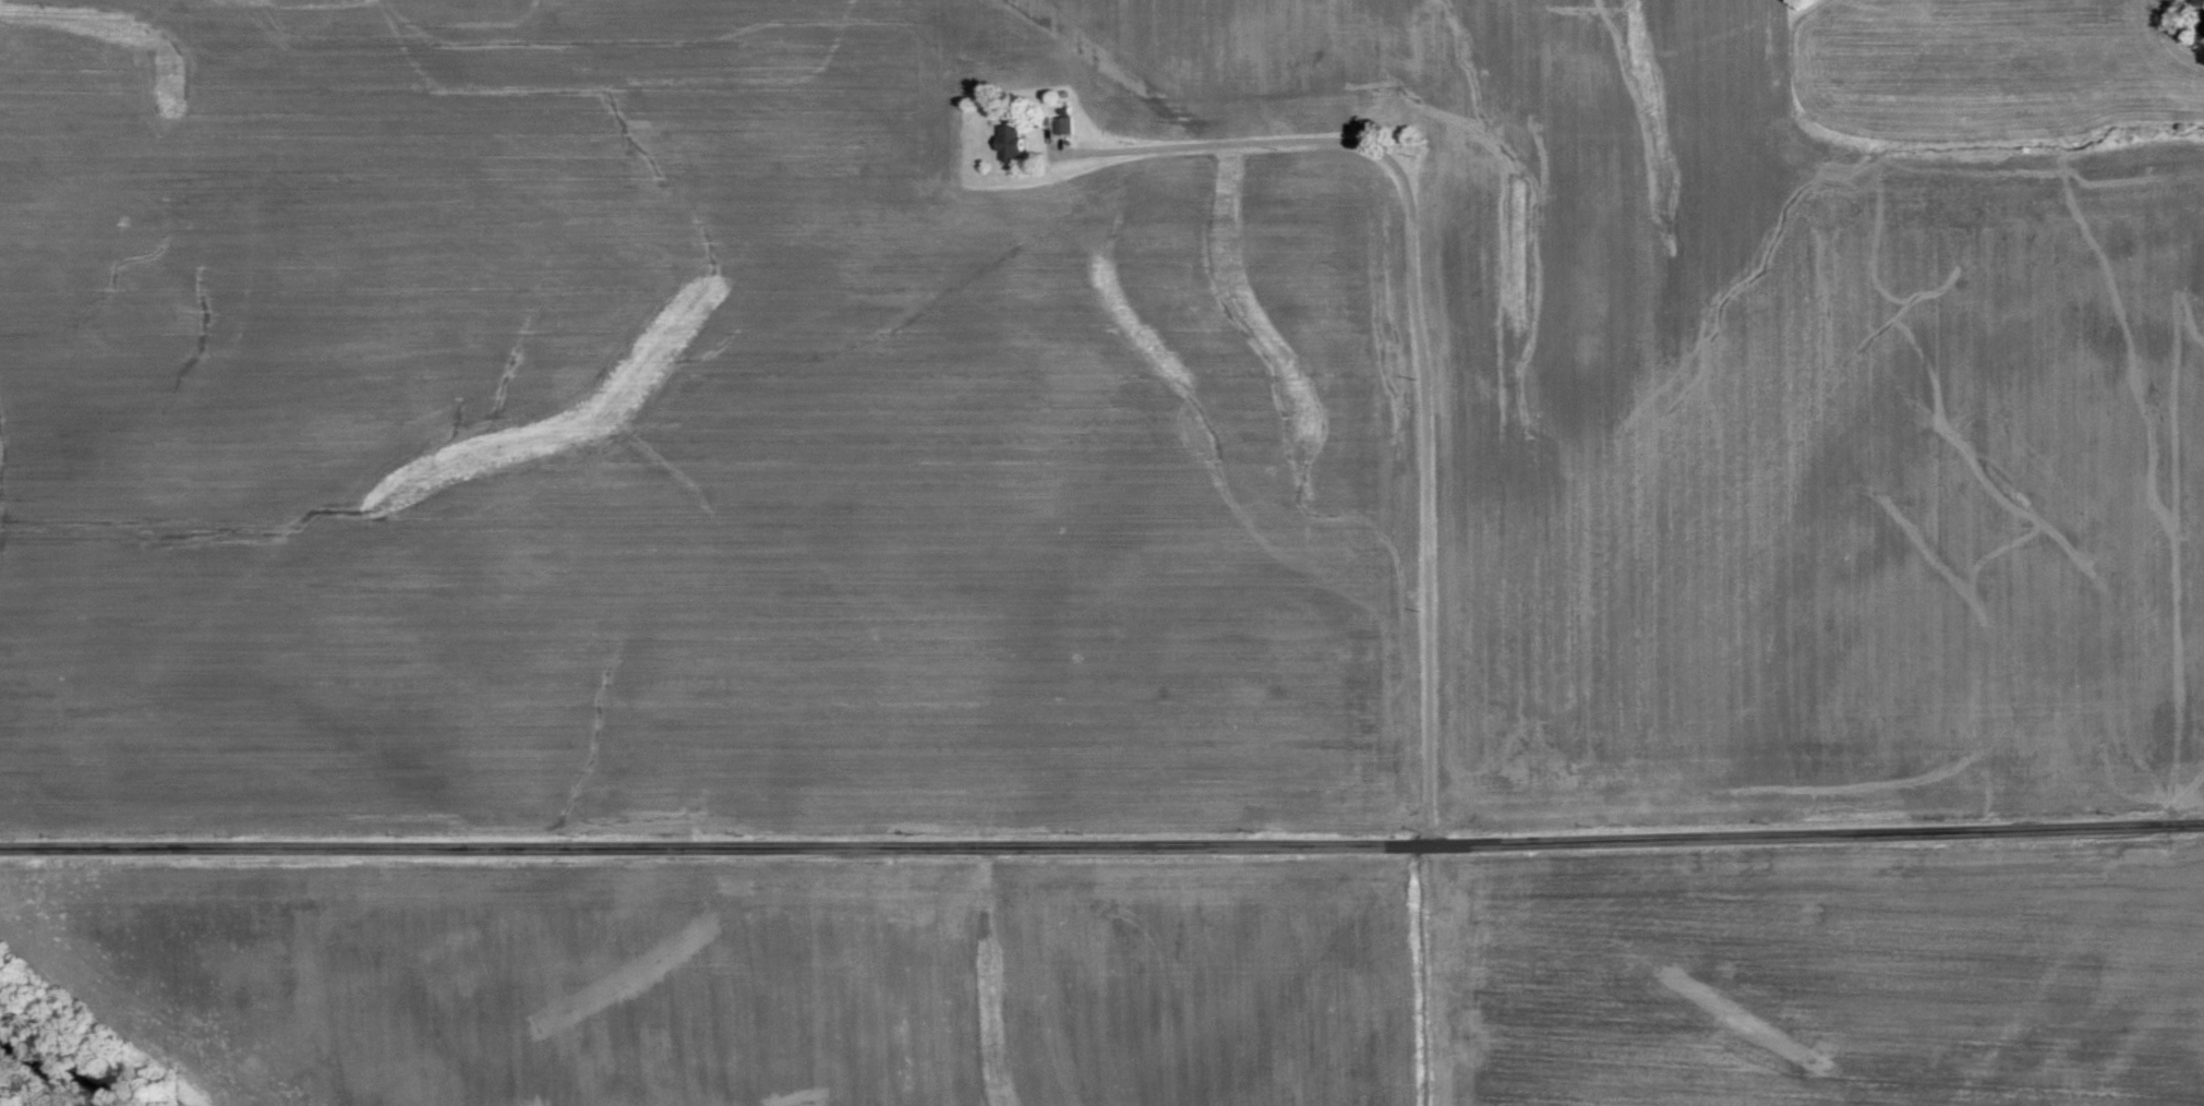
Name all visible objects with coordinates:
building: (1064, 125)
building: (1011, 143)
road: (1423, 333)
road: (1101, 842)

